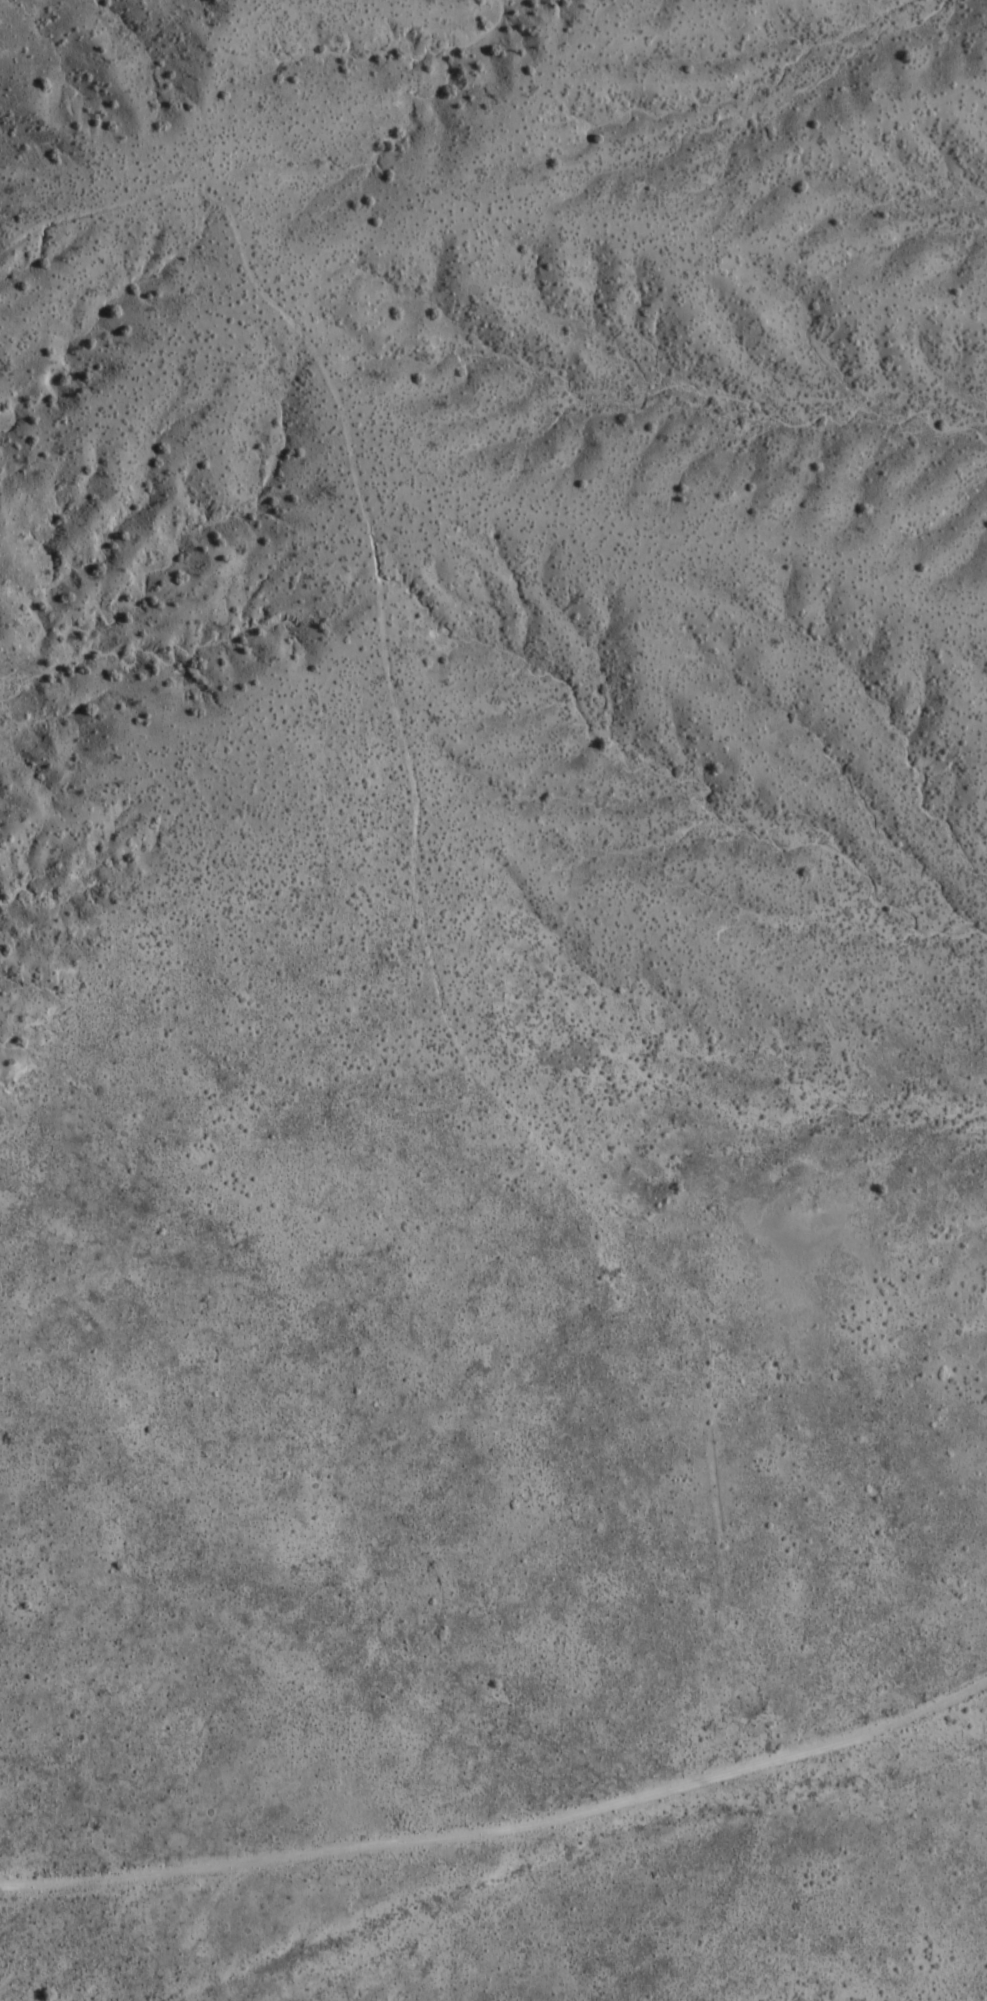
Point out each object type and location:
road: (380, 976)
road: (504, 1825)

